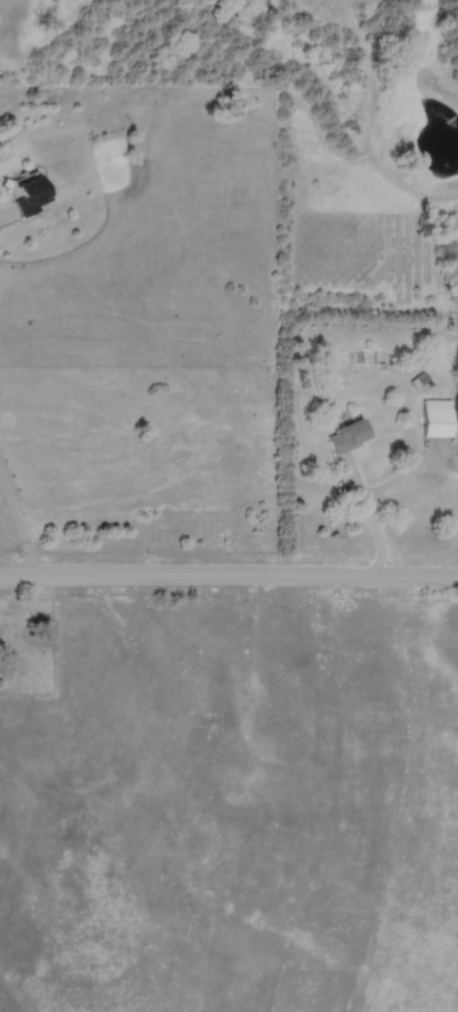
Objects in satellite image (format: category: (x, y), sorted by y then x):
building: (29, 197)
road: (4, 219)
building: (437, 423)
building: (349, 437)
road: (368, 521)
road: (21, 532)
road: (229, 584)
park: (25, 646)

